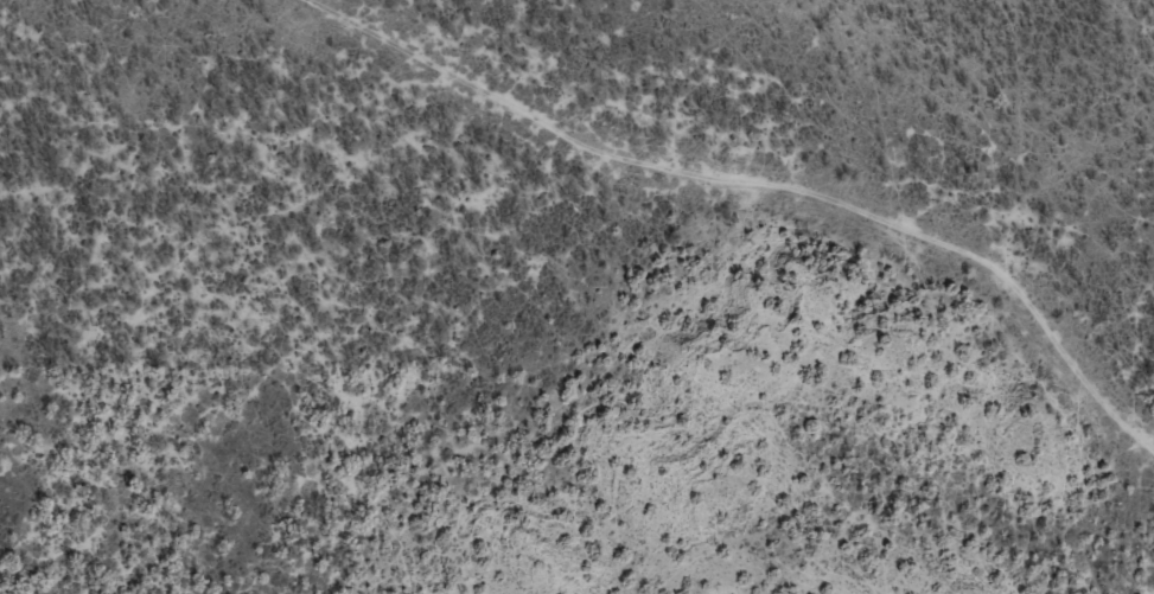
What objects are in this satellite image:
road: (759, 194)

